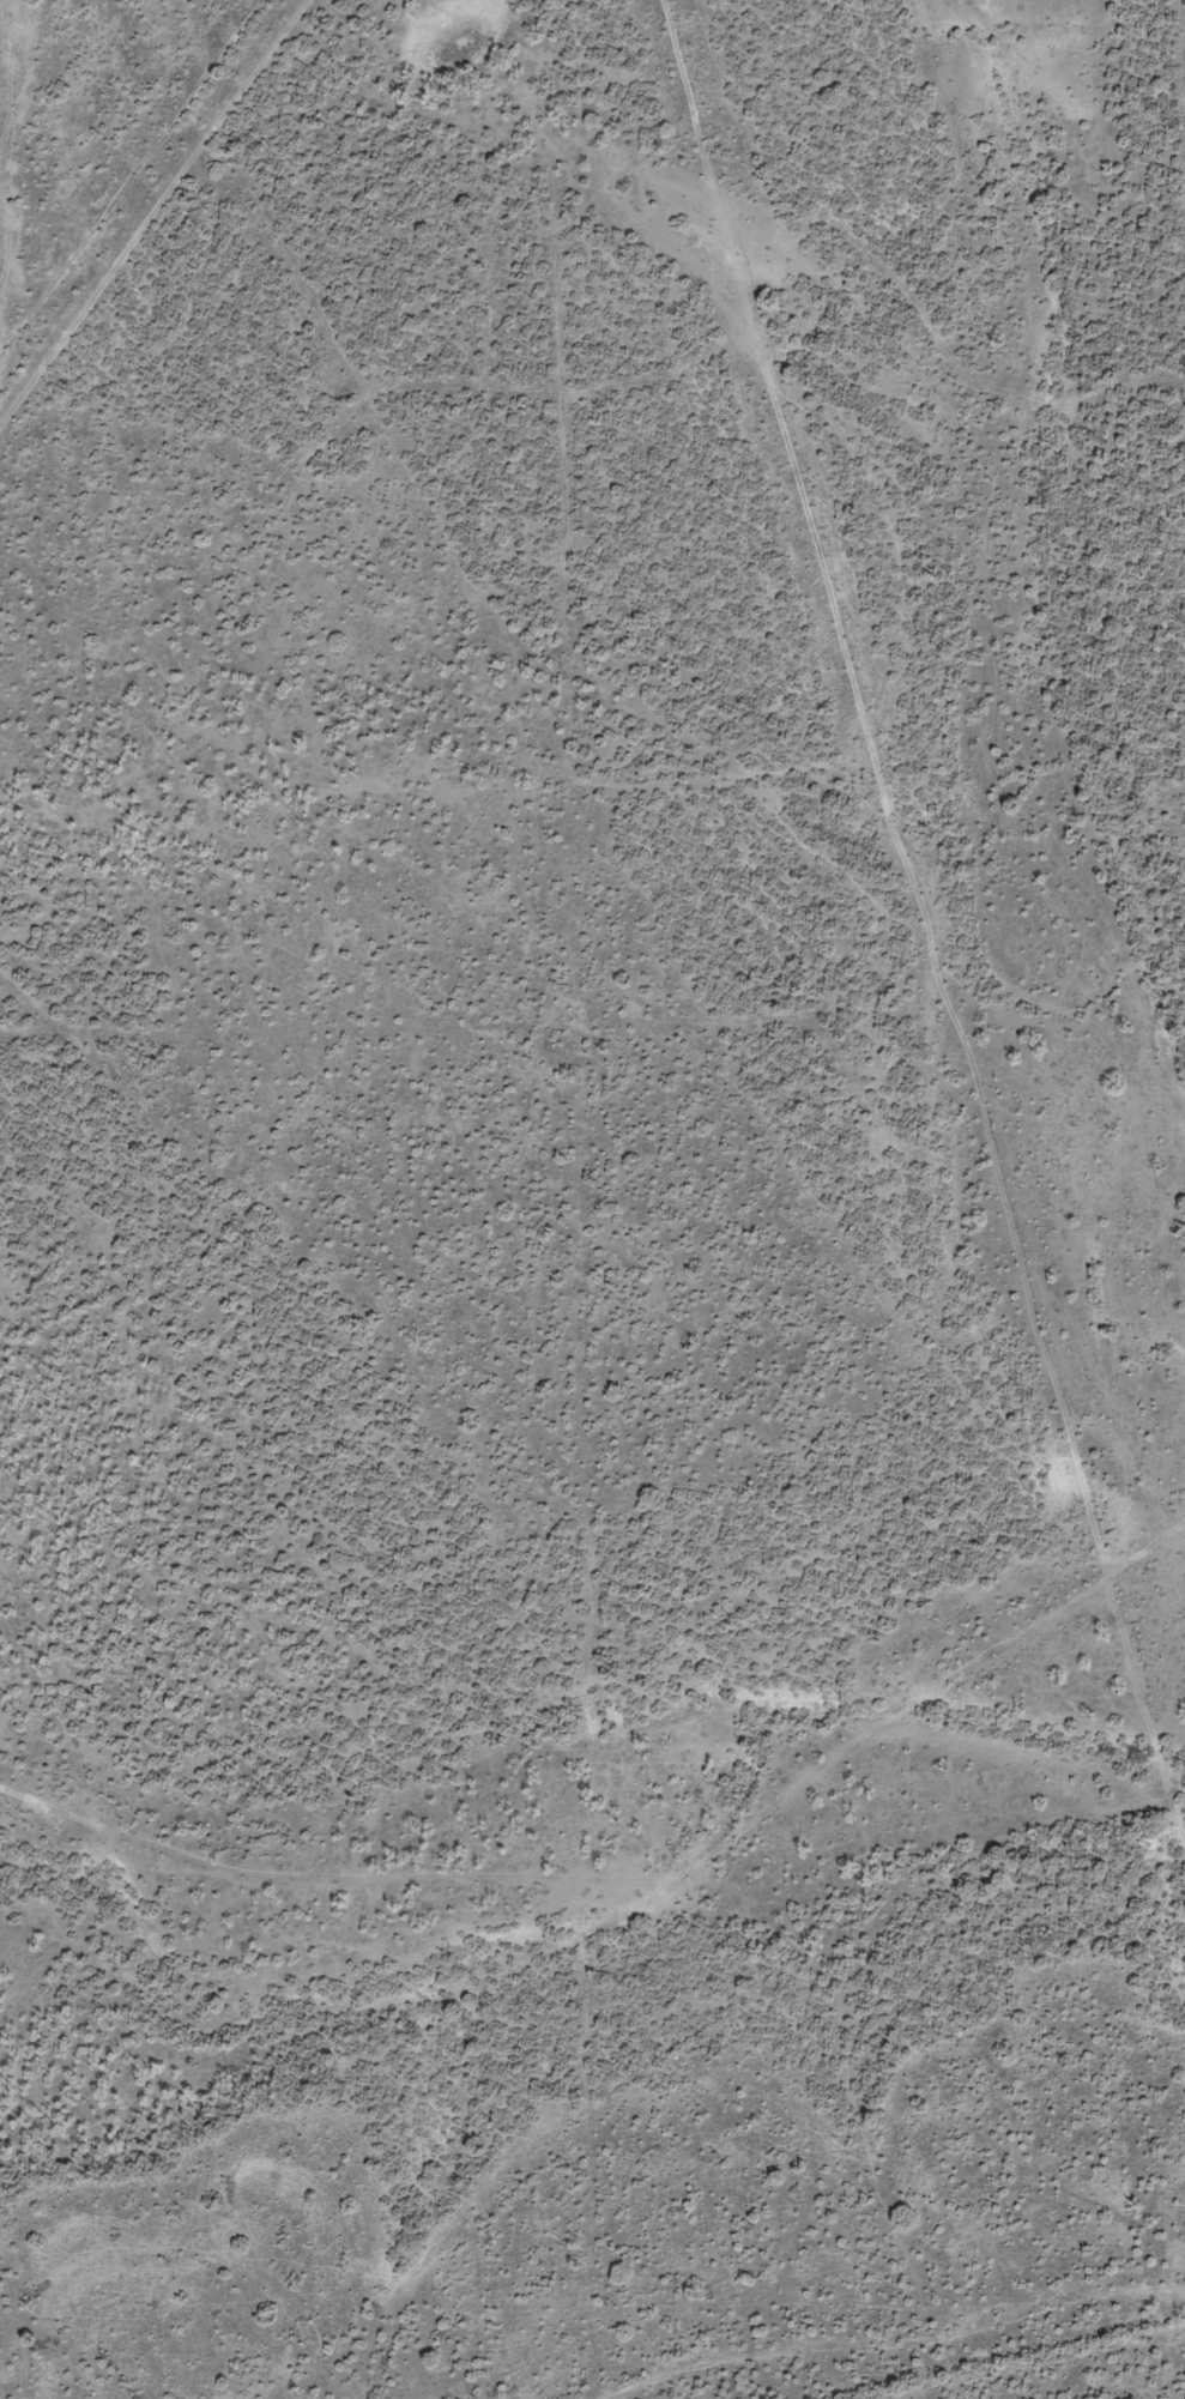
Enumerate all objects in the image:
road: (1072, 60)
road: (430, 404)

